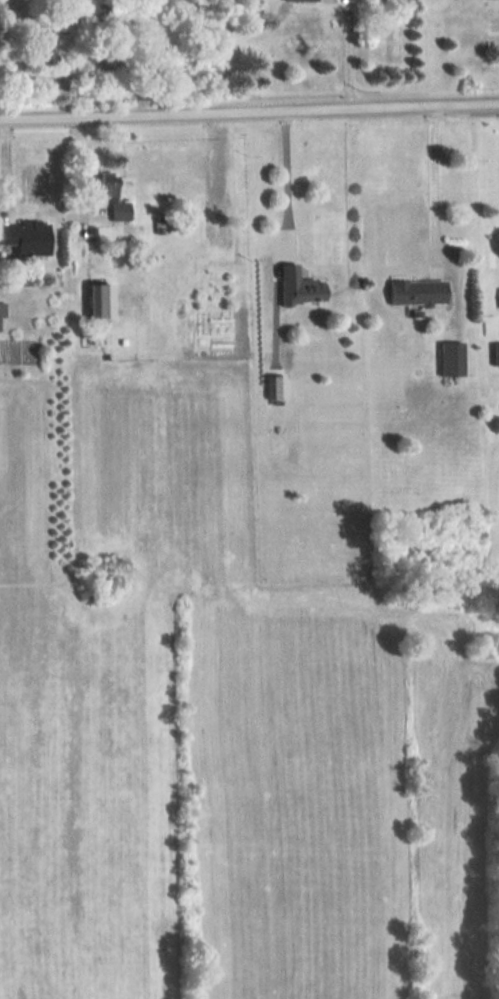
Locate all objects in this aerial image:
building: (46, 53)
road: (349, 55)
road: (249, 113)
road: (285, 165)
road: (432, 182)
building: (108, 183)
building: (104, 210)
building: (25, 233)
building: (301, 286)
building: (419, 292)
building: (2, 316)
building: (452, 358)

